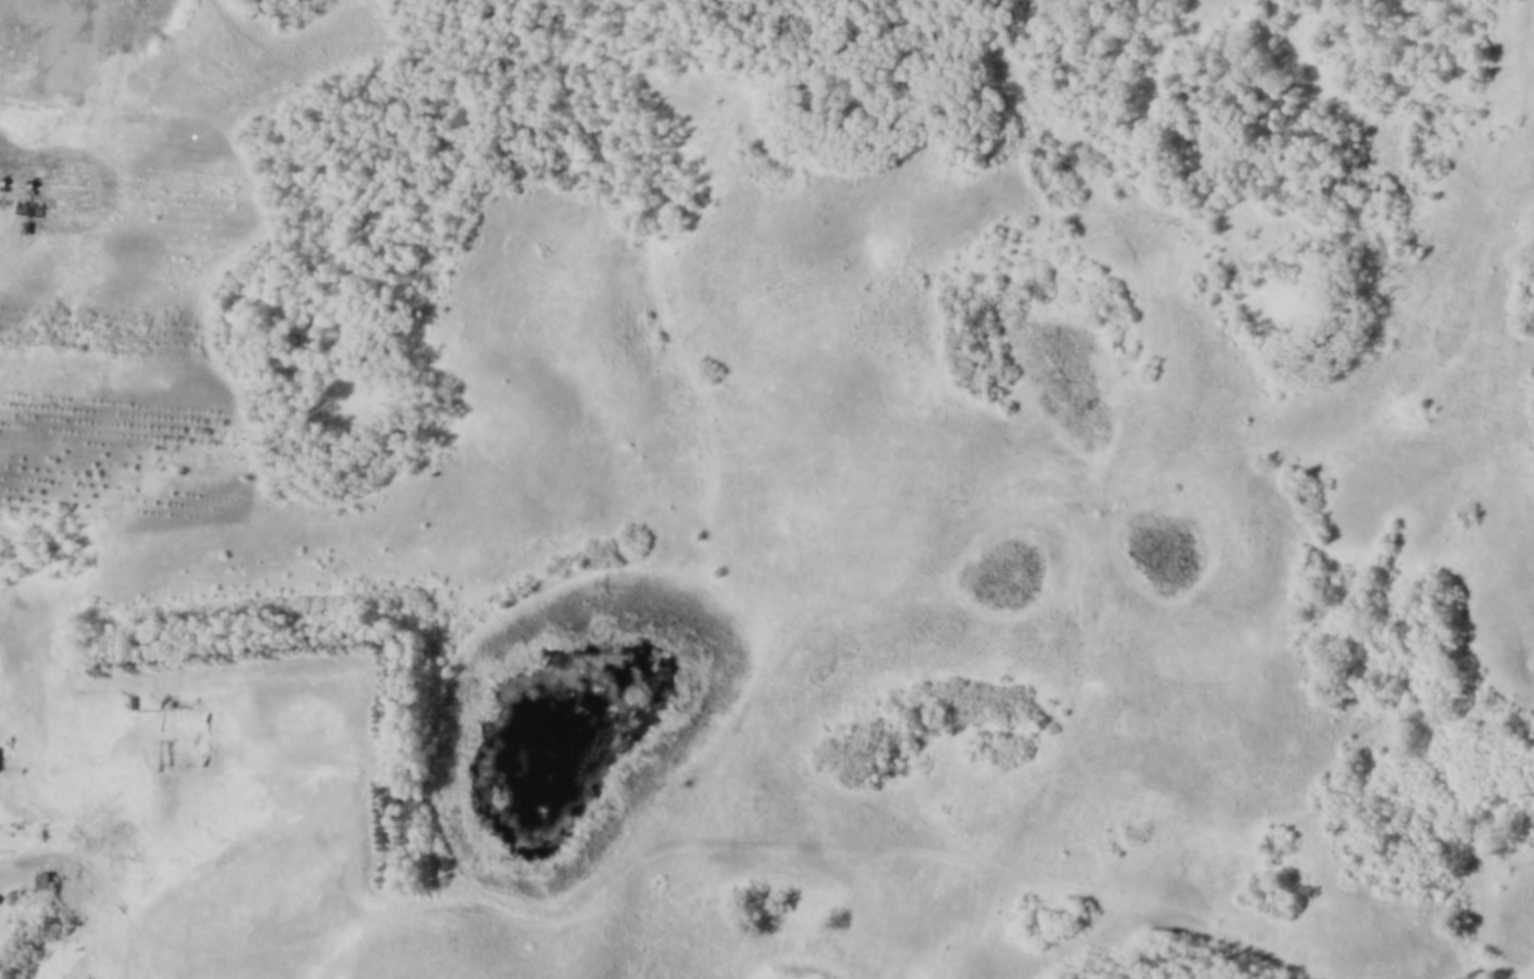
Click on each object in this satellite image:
building: (43, 882)
building: (13, 898)

